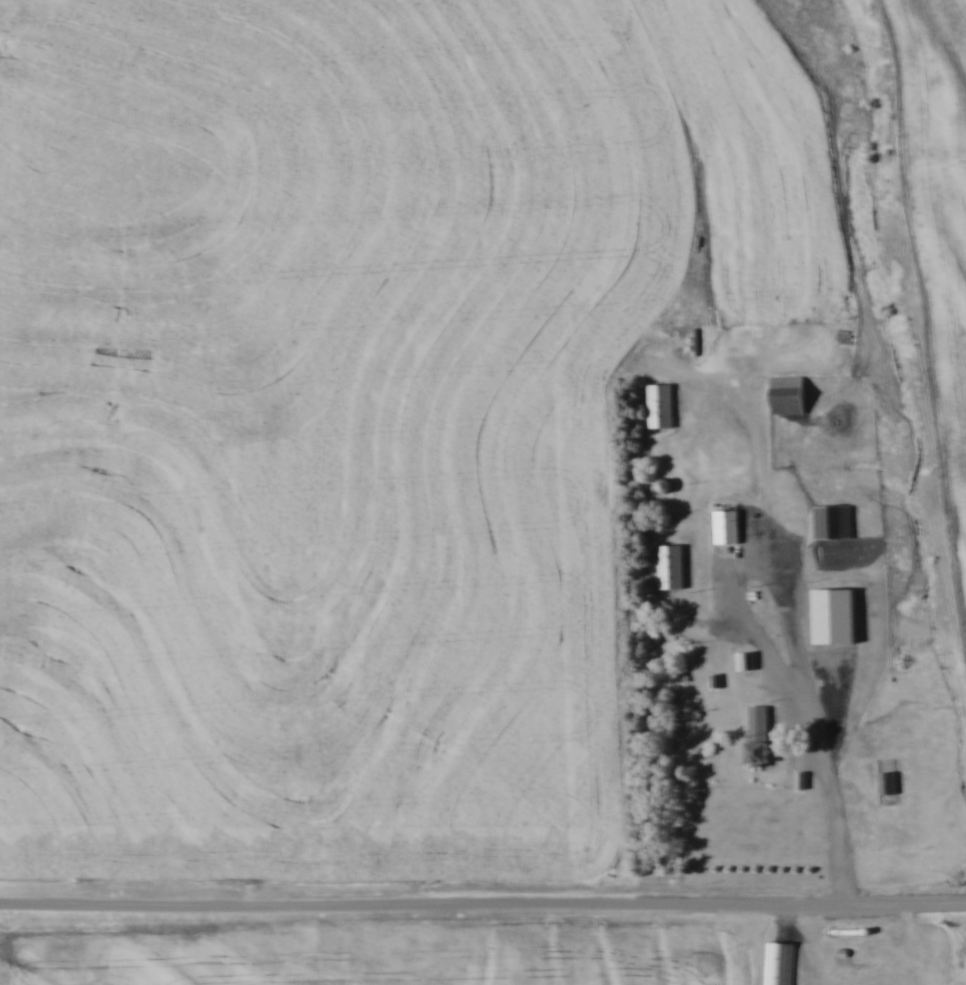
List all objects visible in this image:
building: (790, 395)
building: (661, 406)
building: (665, 486)
building: (833, 522)
building: (728, 527)
building: (672, 567)
road: (743, 613)
building: (746, 661)
building: (760, 735)
building: (888, 783)
road: (838, 801)
road: (482, 909)
building: (779, 963)

